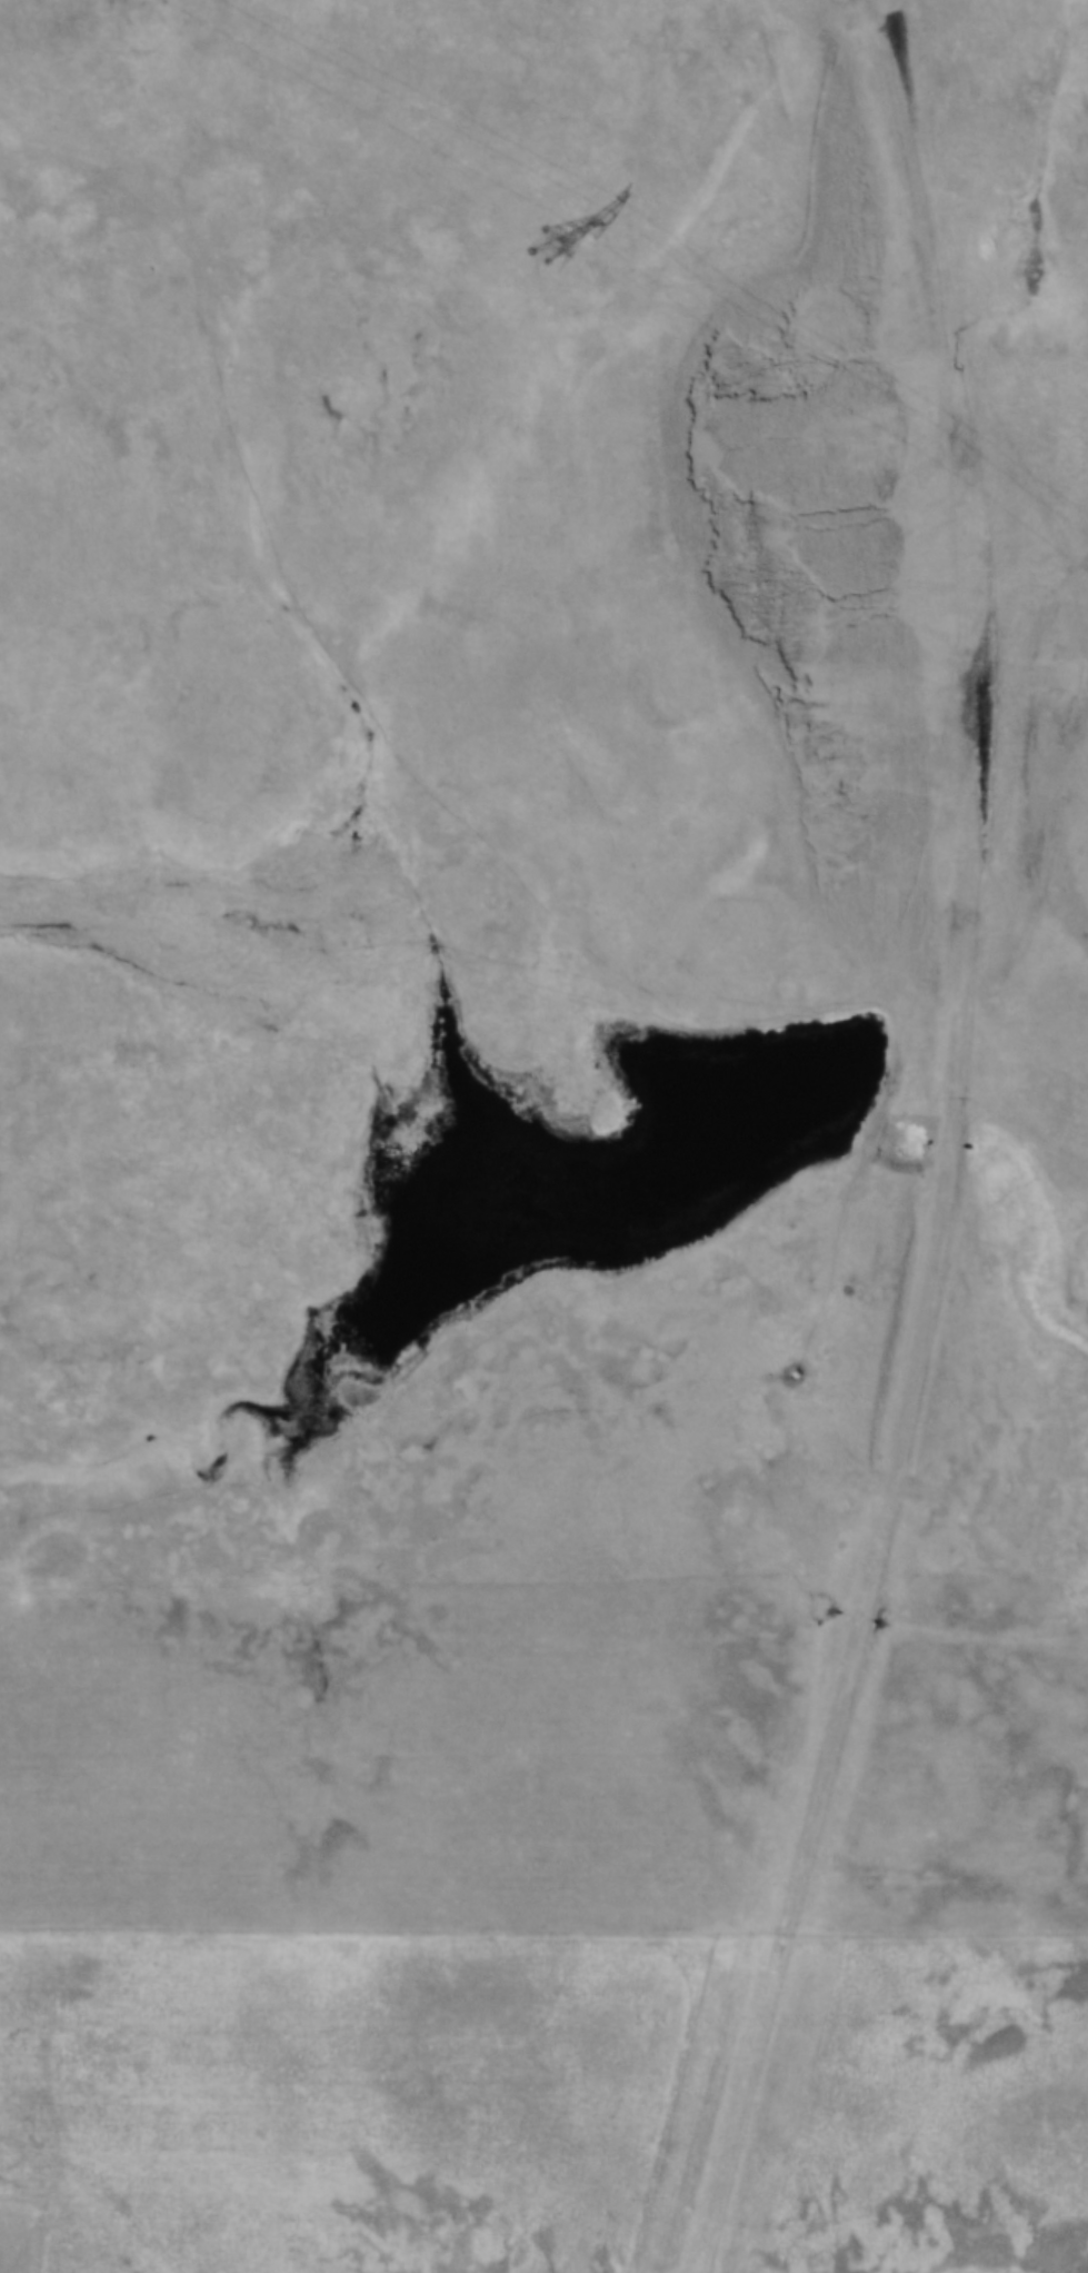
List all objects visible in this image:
power tower: (549, 246)

